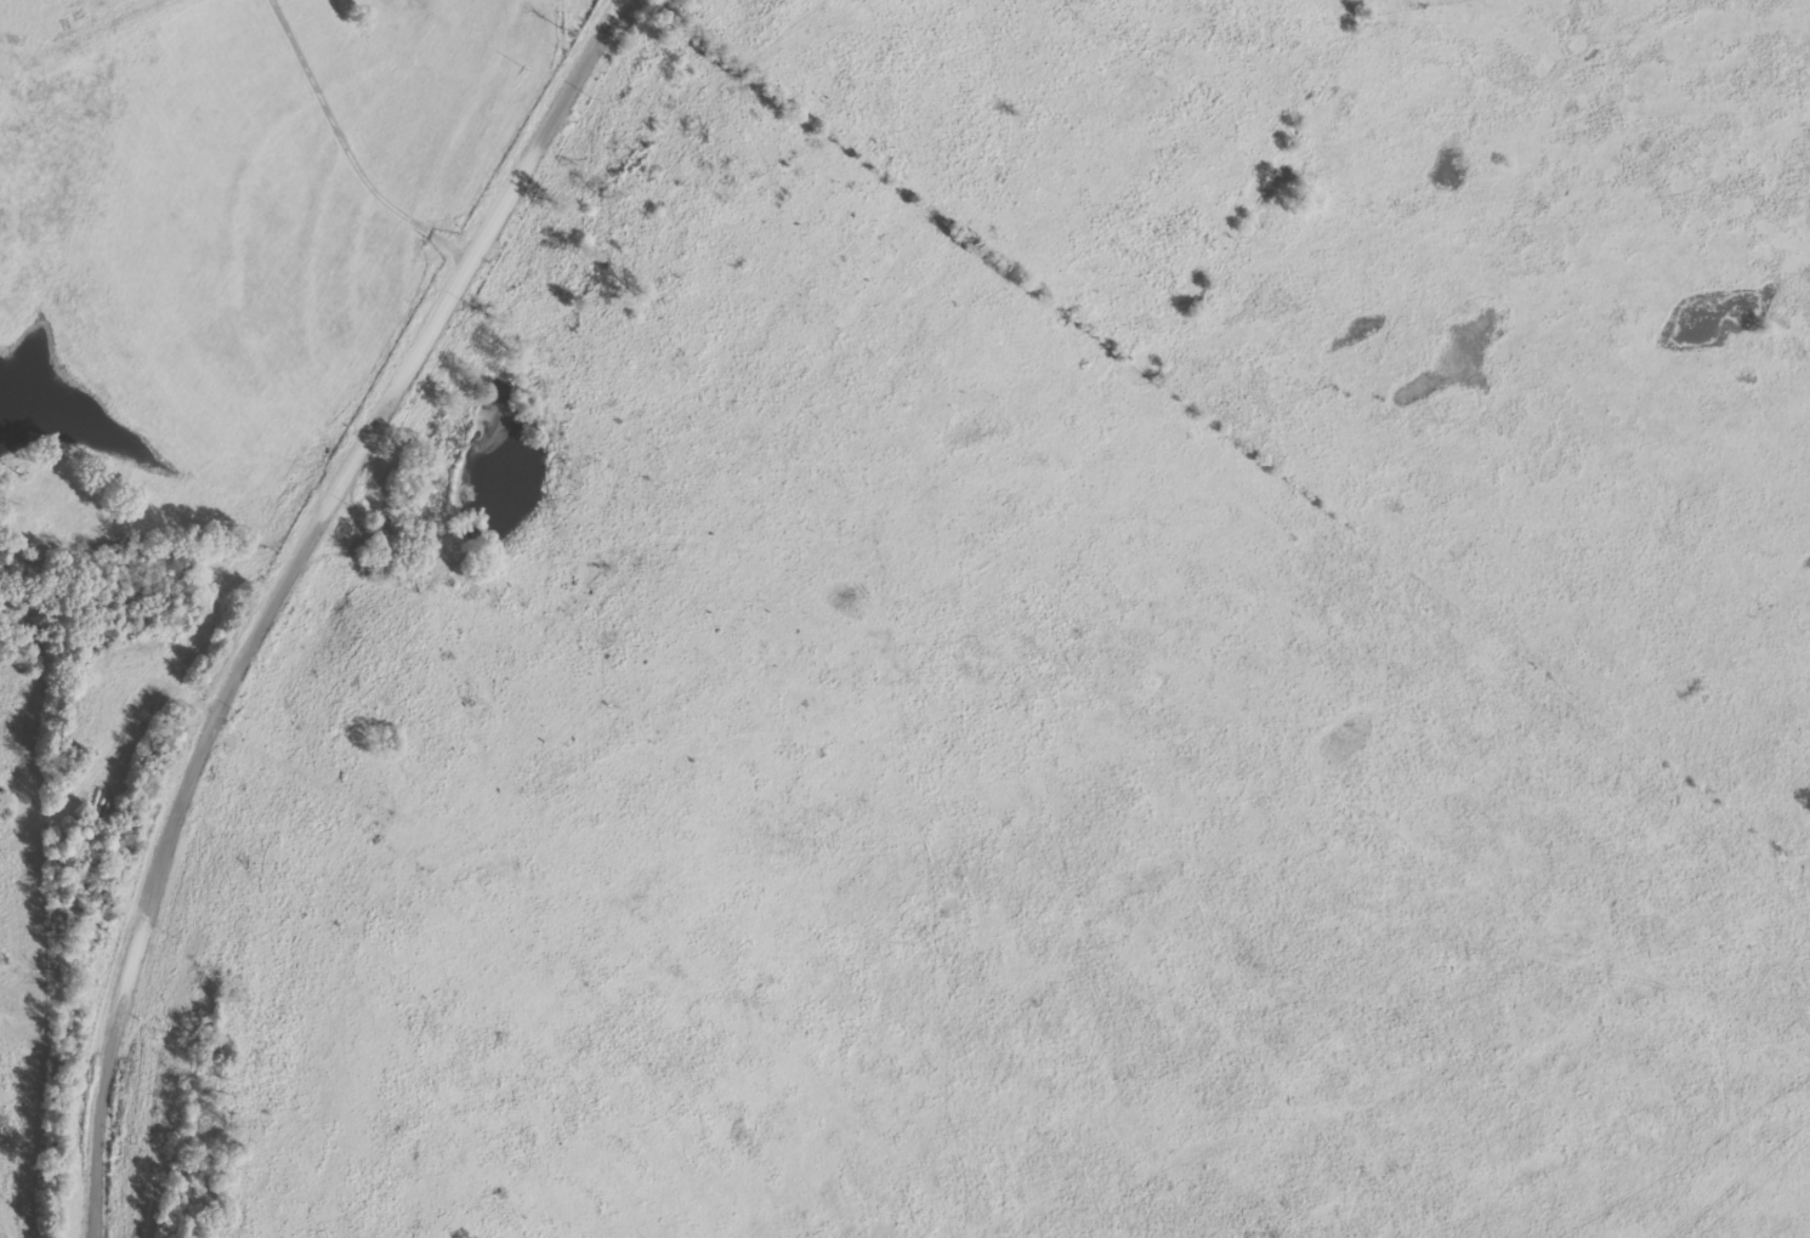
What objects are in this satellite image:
road: (267, 578)

